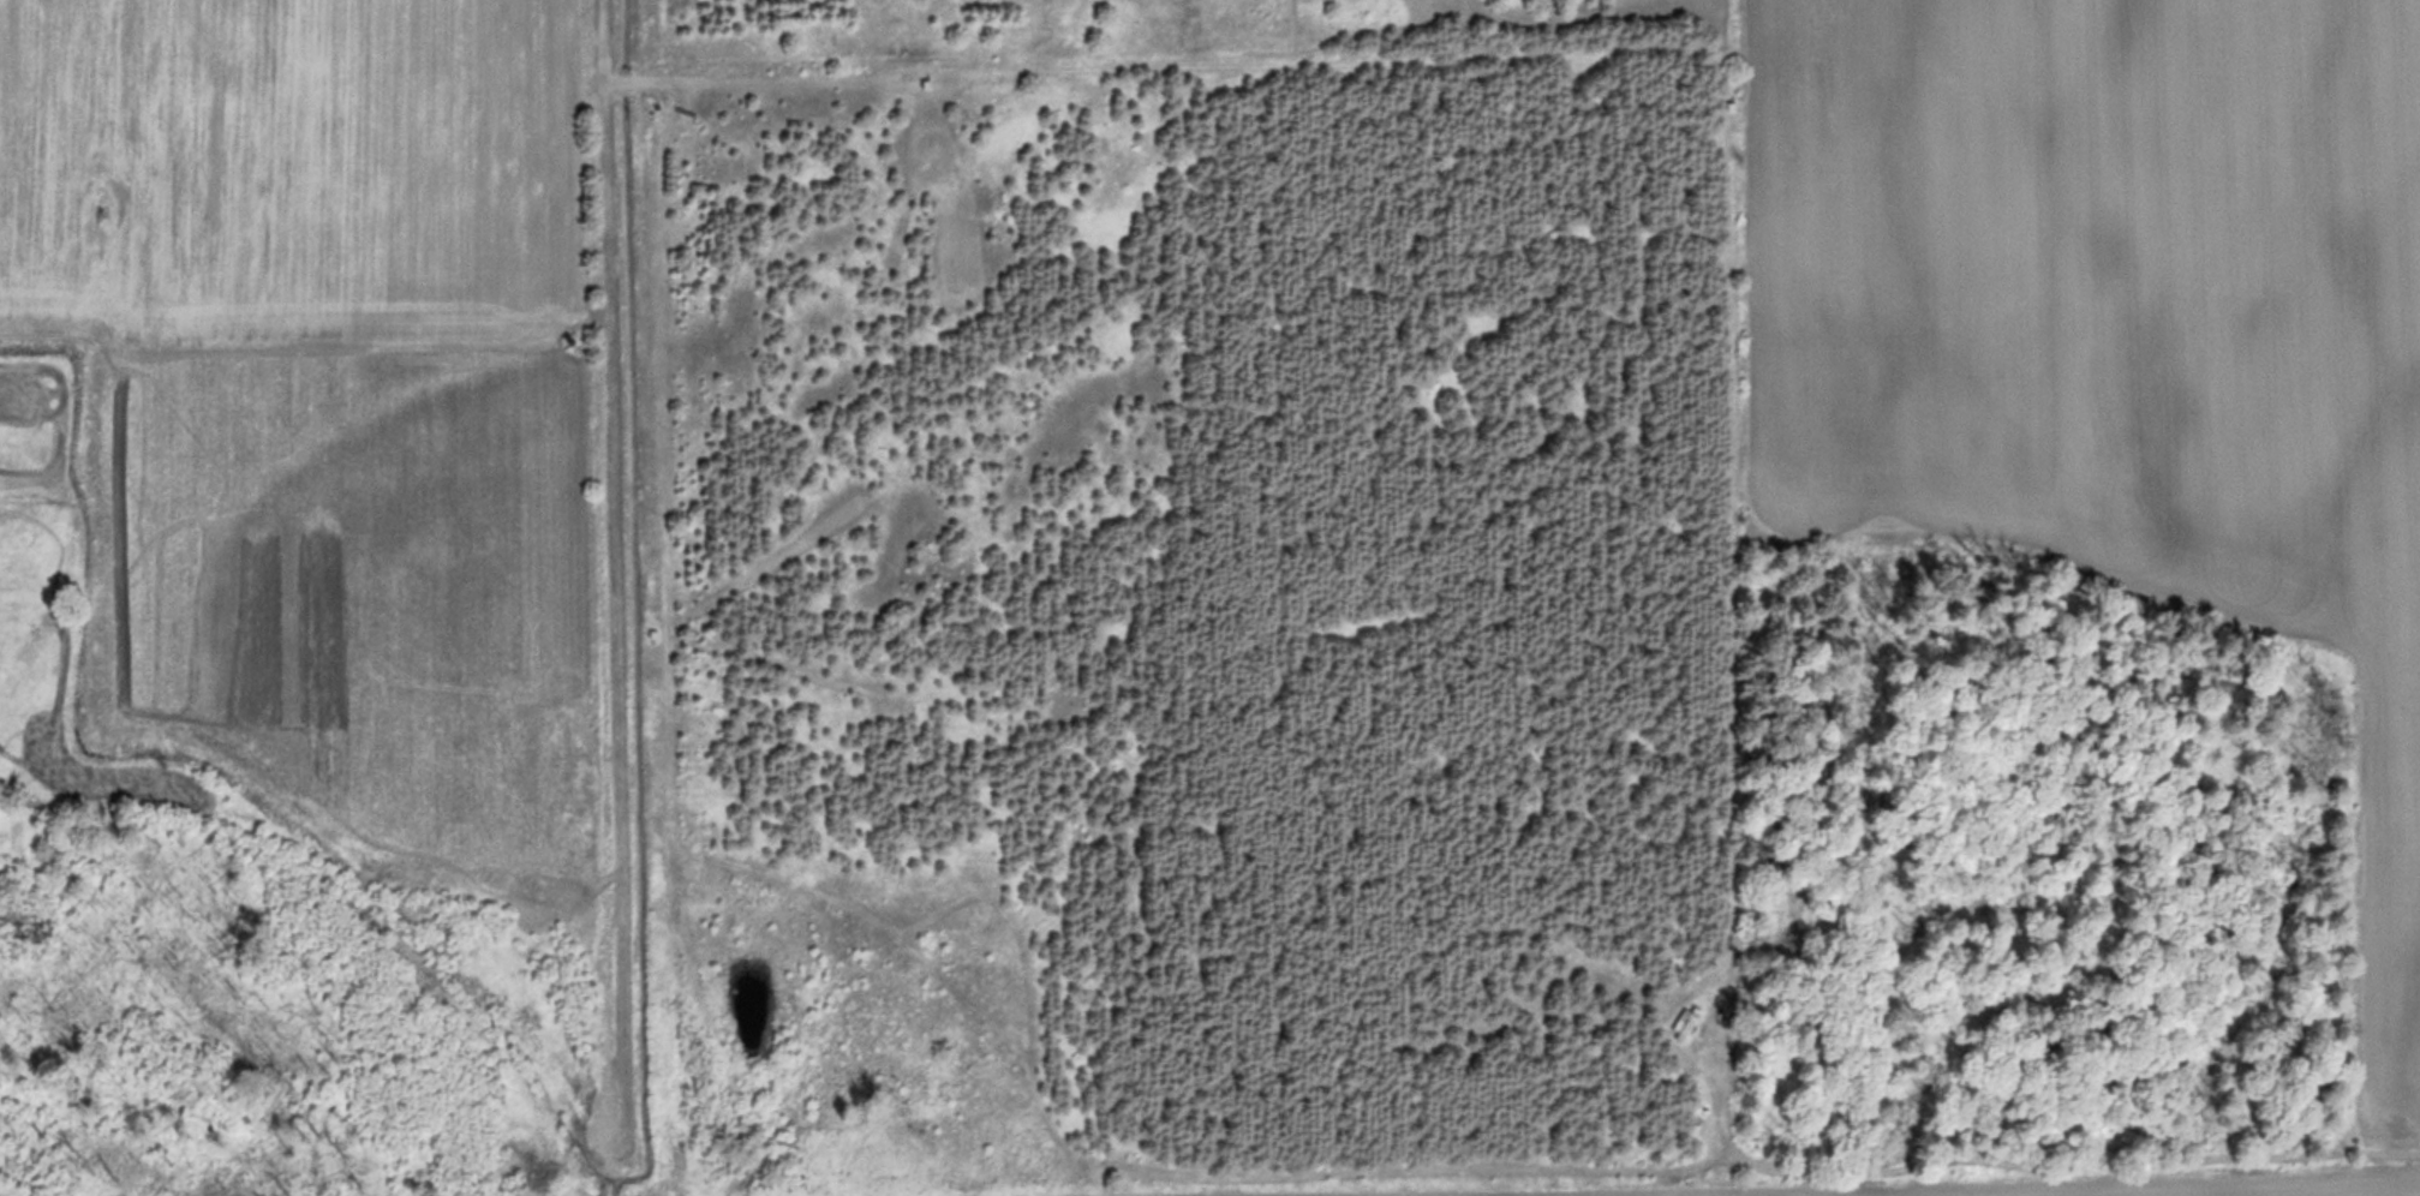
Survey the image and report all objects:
road: (536, 61)
building: (1683, 1019)

